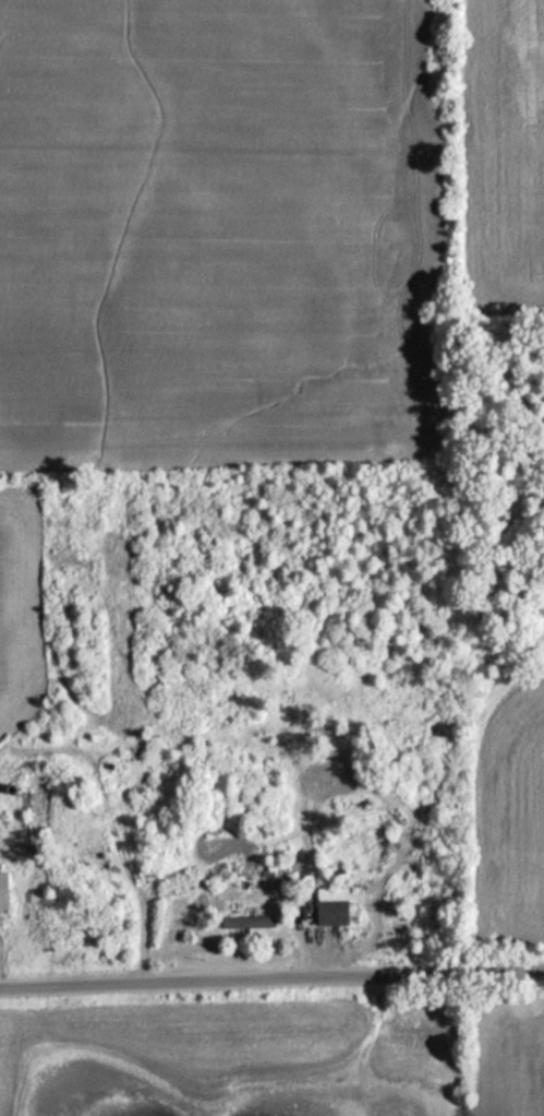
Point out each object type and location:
building: (1, 892)
building: (328, 906)
building: (244, 923)
road: (271, 985)

